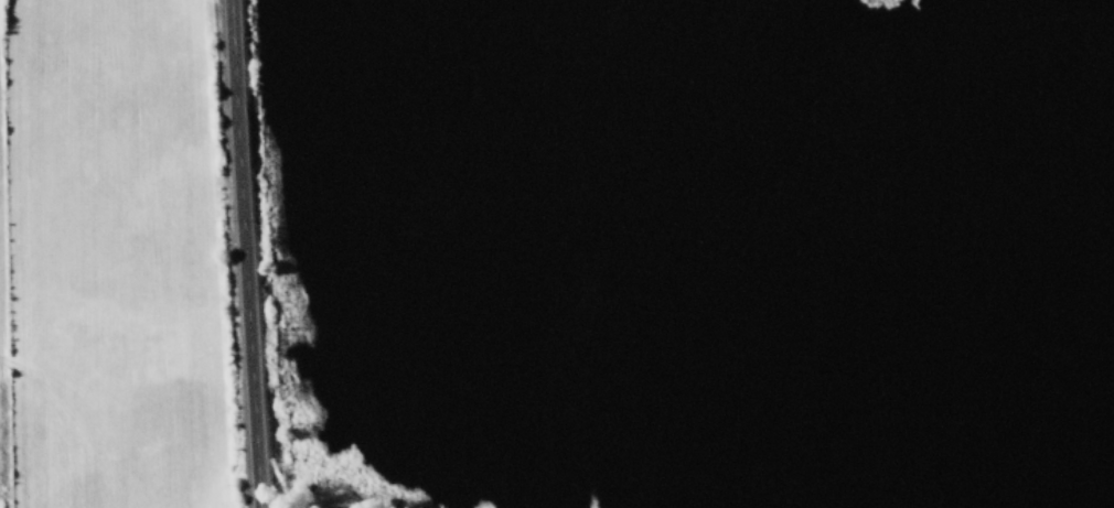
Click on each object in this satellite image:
road: (242, 253)

